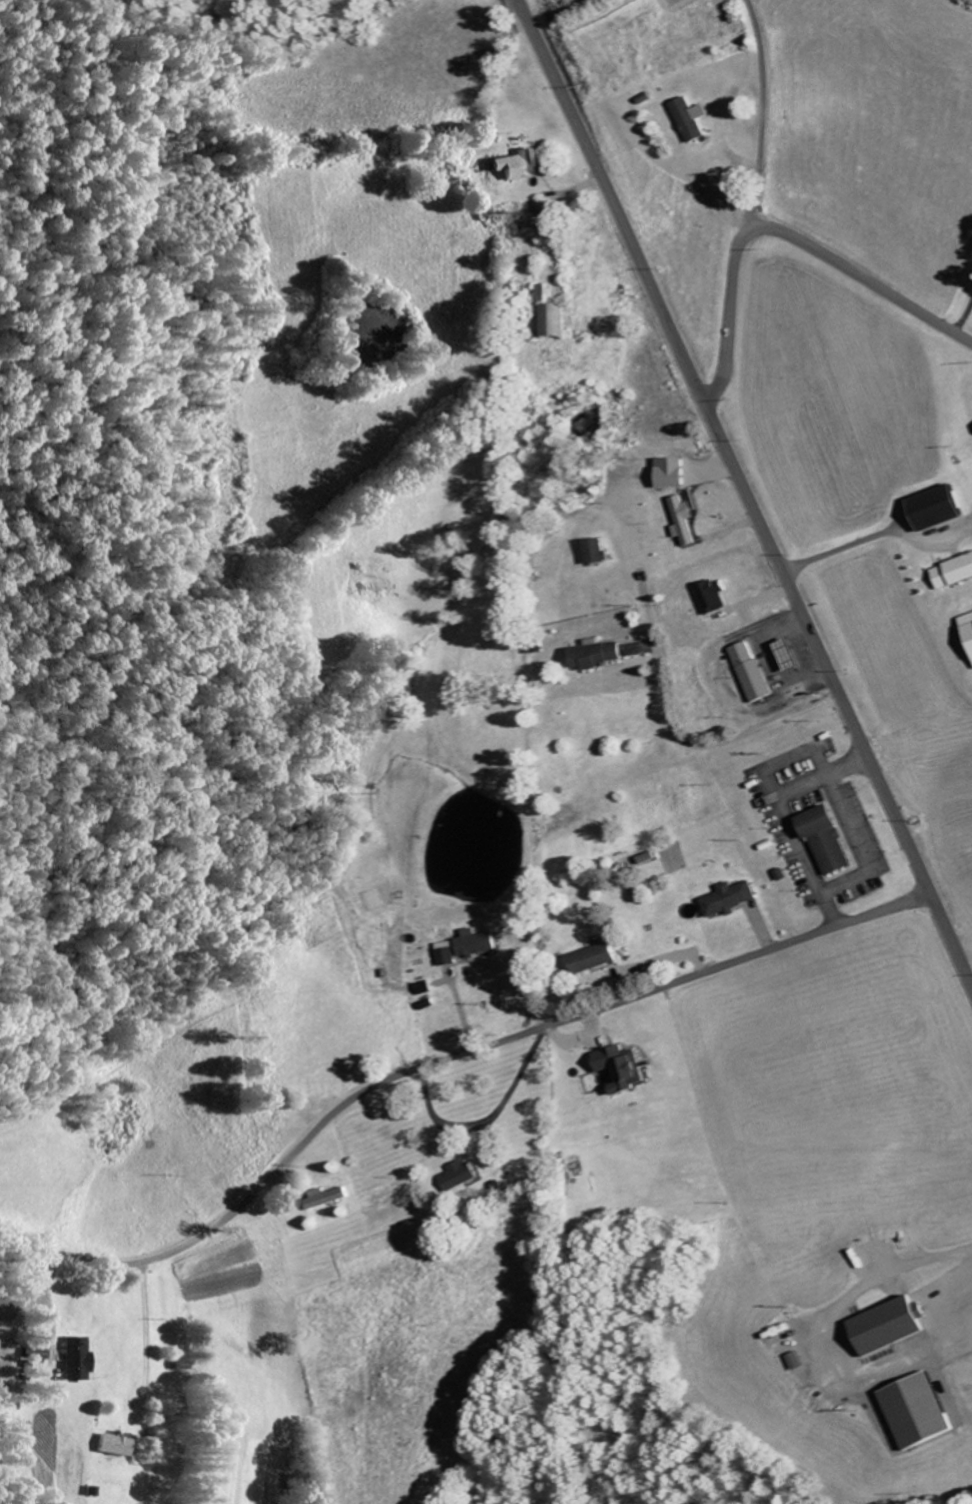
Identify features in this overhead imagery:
road: (762, 118)
building: (693, 120)
building: (517, 166)
road: (860, 274)
road: (727, 319)
building: (561, 321)
building: (676, 473)
road: (746, 491)
building: (942, 508)
building: (687, 521)
building: (600, 552)
building: (954, 574)
building: (969, 623)
building: (599, 655)
building: (795, 656)
building: (755, 674)
building: (832, 841)
building: (732, 900)
building: (479, 944)
building: (449, 955)
building: (597, 959)
road: (442, 1061)
building: (625, 1070)
building: (465, 1176)
building: (327, 1198)
building: (892, 1326)
building: (1, 1359)
building: (79, 1359)
building: (802, 1362)
building: (925, 1411)
building: (114, 1446)

